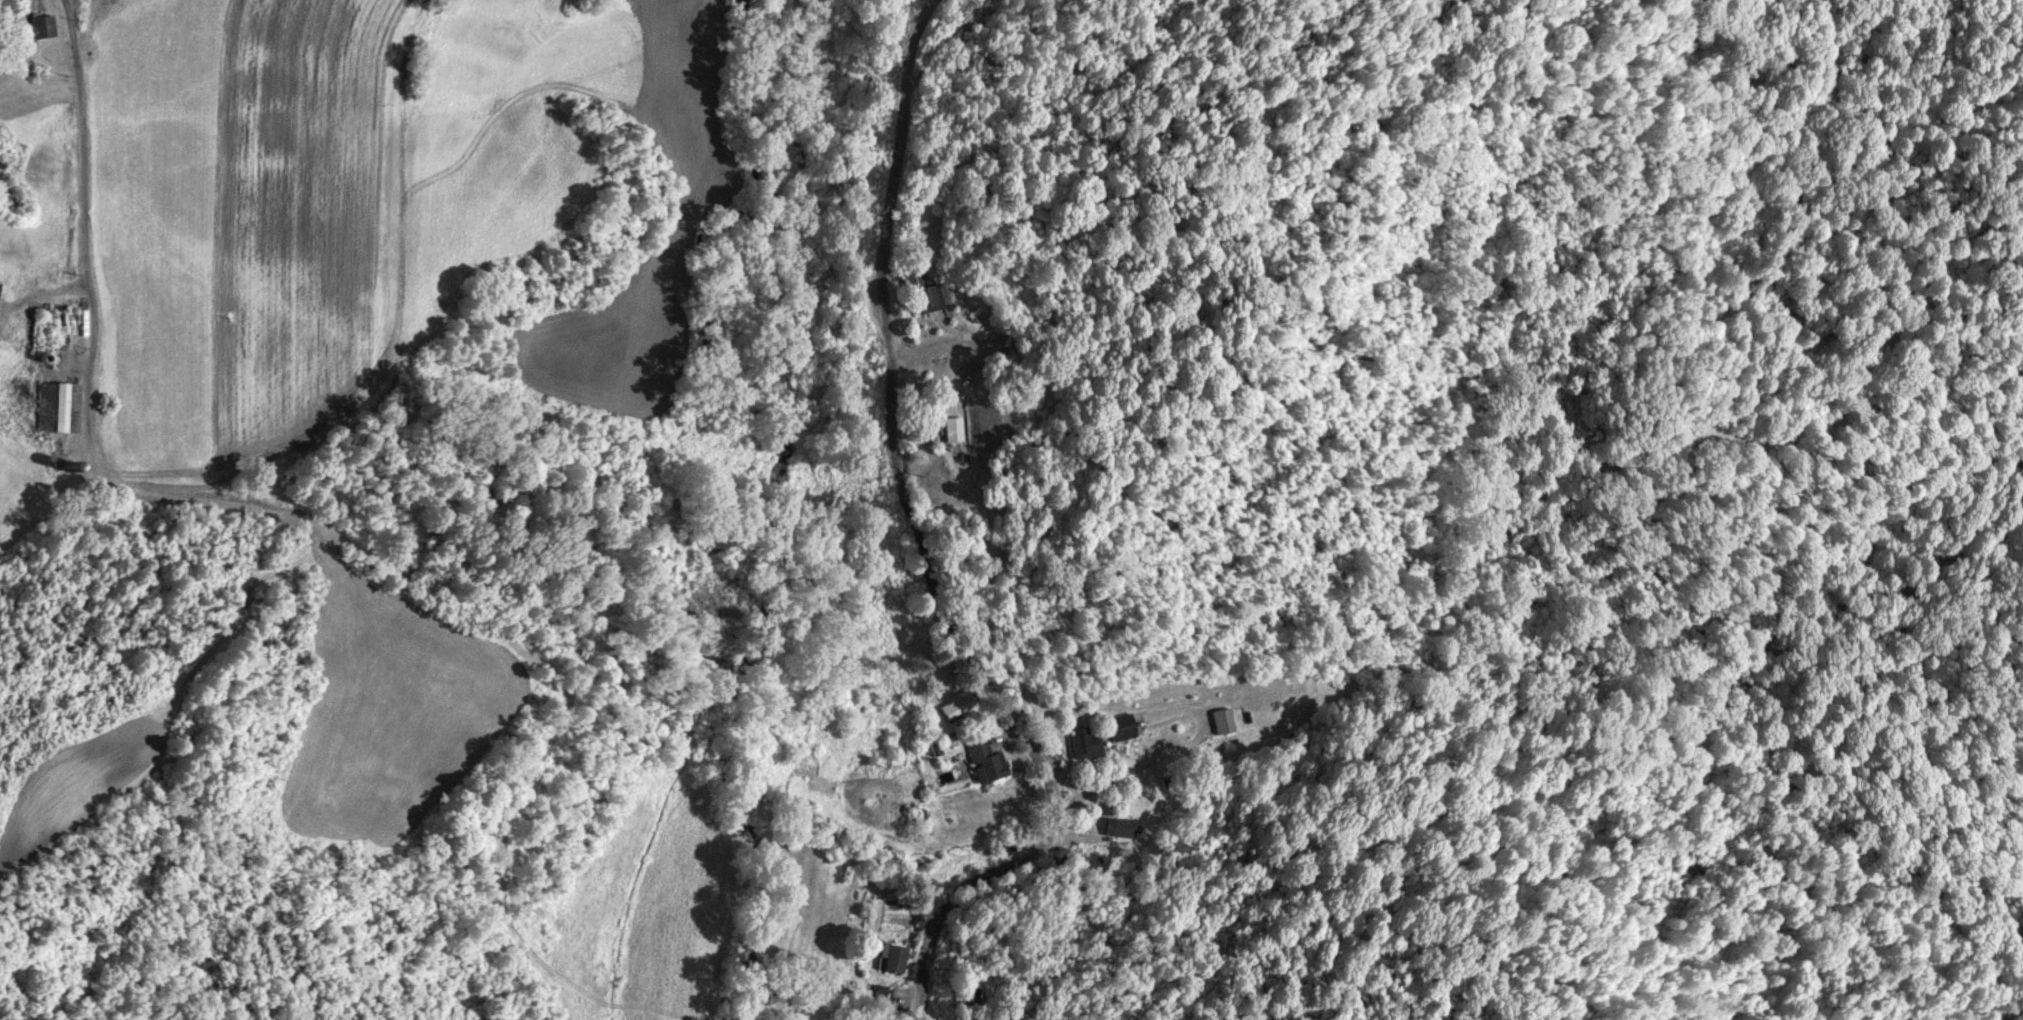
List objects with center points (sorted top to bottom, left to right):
building: (39, 28)
road: (89, 90)
building: (914, 271)
building: (0, 285)
building: (925, 300)
building: (67, 408)
building: (954, 429)
road: (911, 559)
building: (957, 705)
building: (1224, 721)
building: (1122, 728)
building: (1085, 744)
building: (986, 762)
building: (892, 959)
building: (967, 998)

